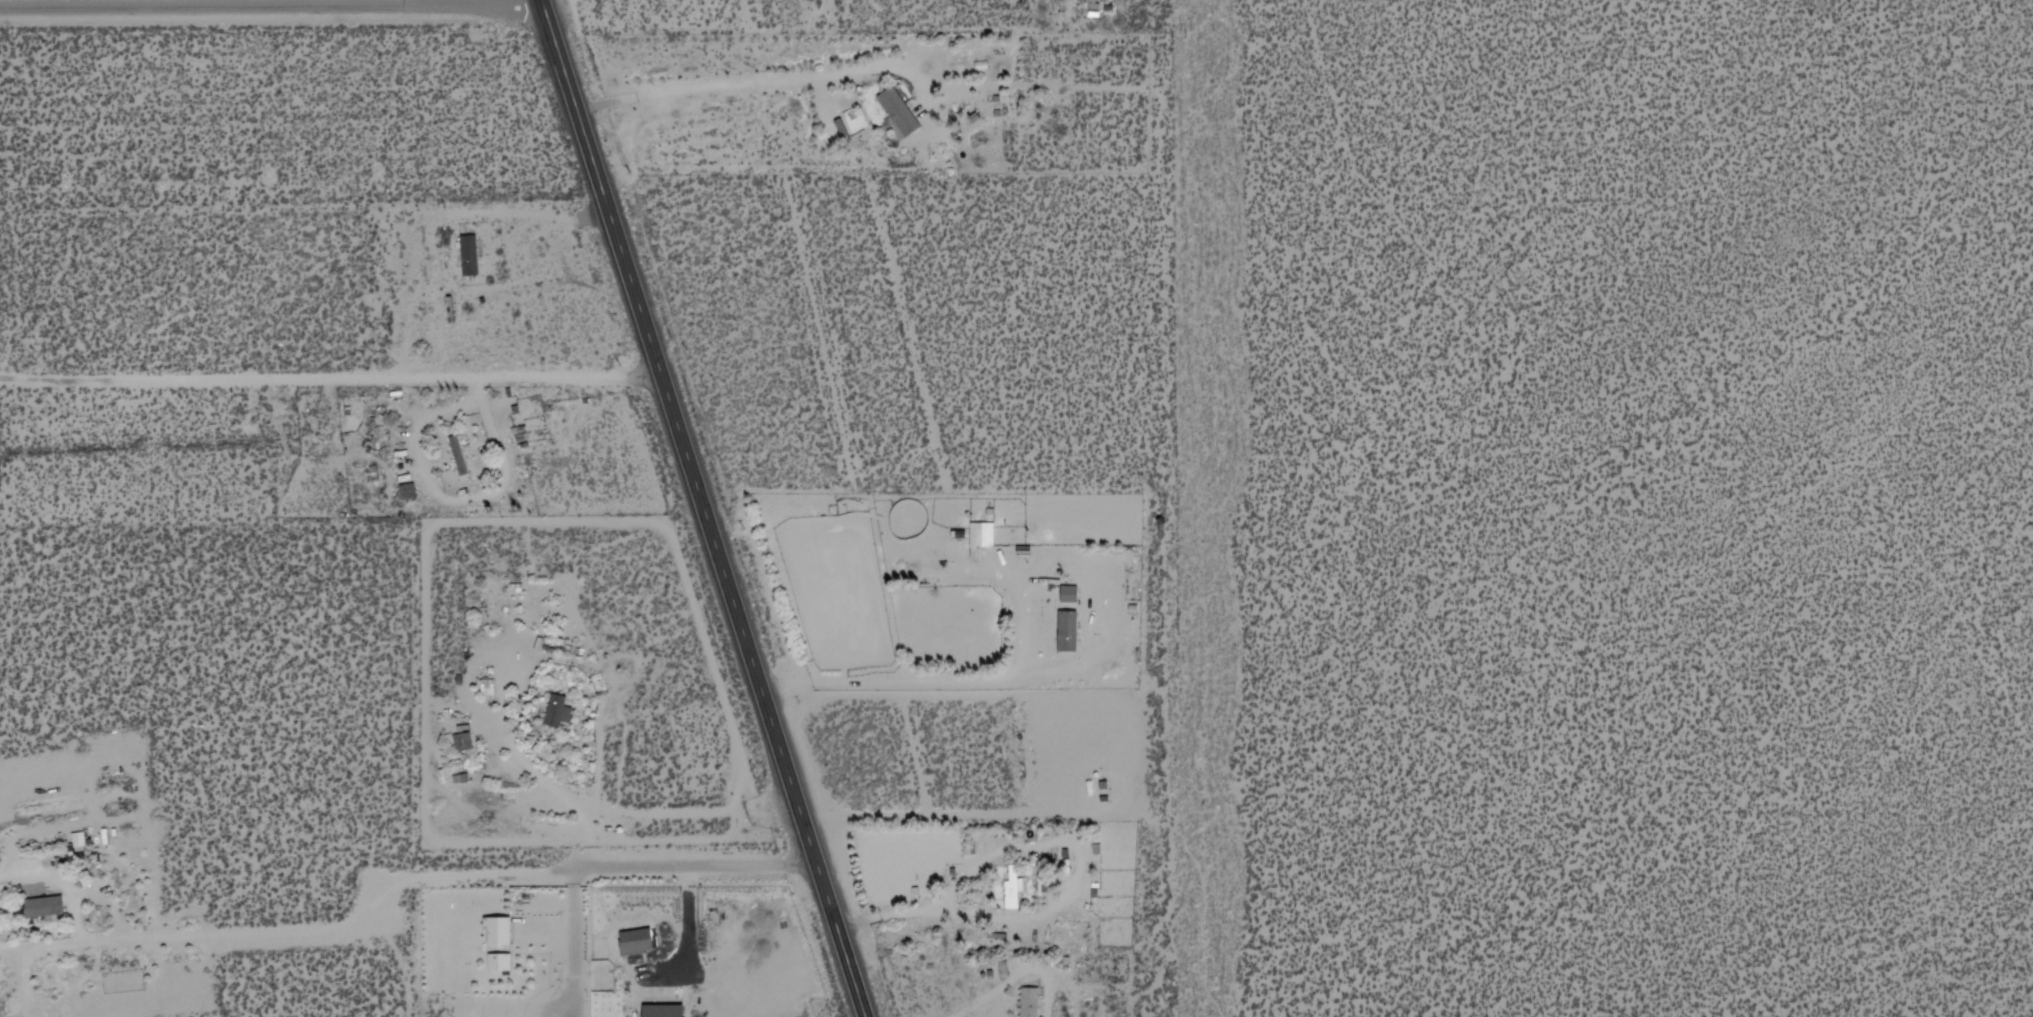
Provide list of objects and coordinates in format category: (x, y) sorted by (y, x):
road: (472, 10)
road: (201, 11)
building: (901, 112)
building: (468, 258)
road: (330, 378)
building: (454, 454)
building: (406, 492)
road: (702, 508)
building: (978, 534)
building: (1065, 593)
building: (487, 689)
building: (560, 714)
building: (464, 741)
road: (701, 871)
building: (1009, 887)
building: (1017, 888)
building: (42, 907)
building: (494, 930)
building: (631, 941)
building: (495, 961)
building: (1031, 1003)
building: (657, 1010)

